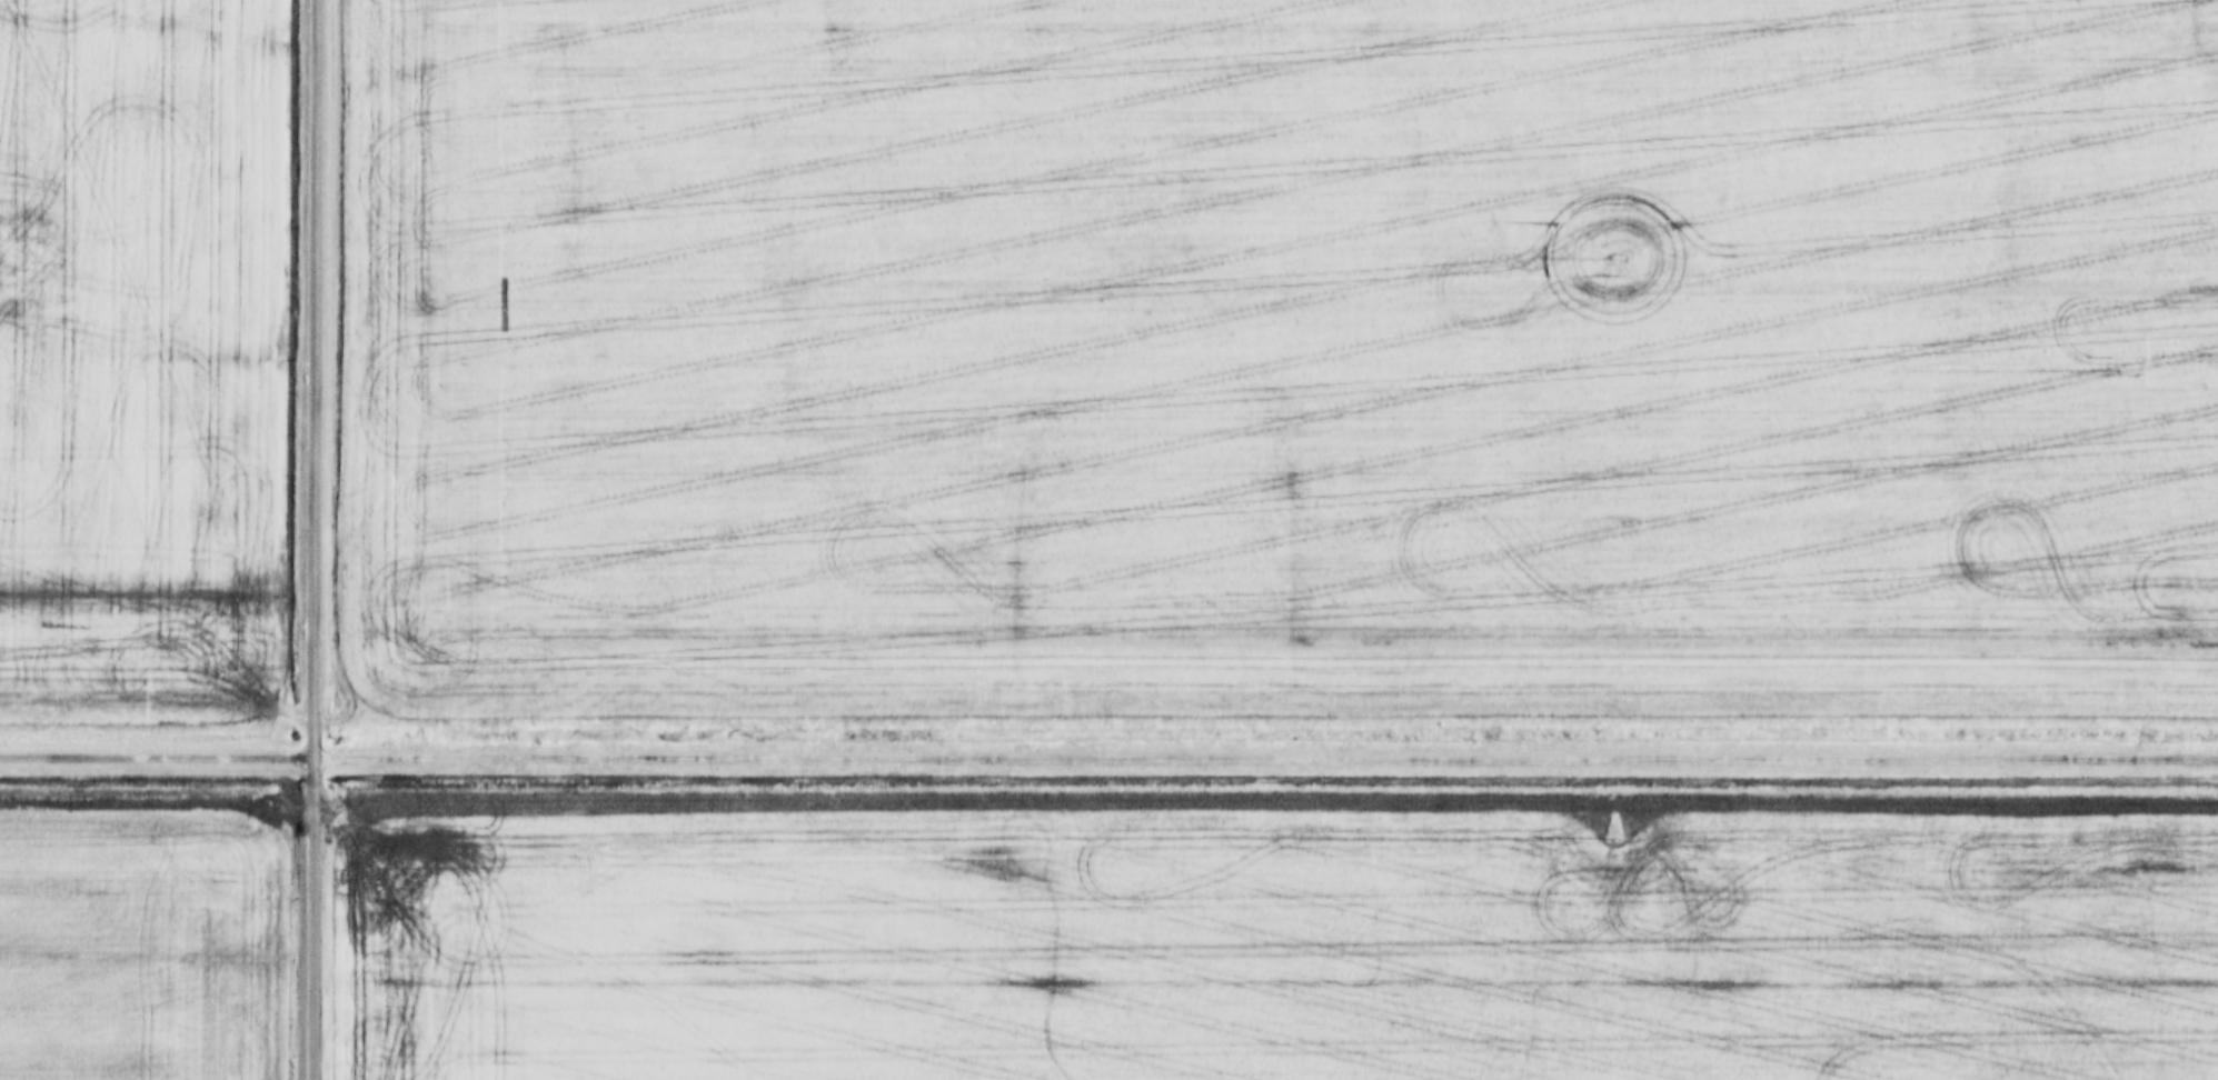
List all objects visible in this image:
power tower: (1611, 258)
road: (316, 540)
road: (158, 747)
power tower: (1610, 836)

